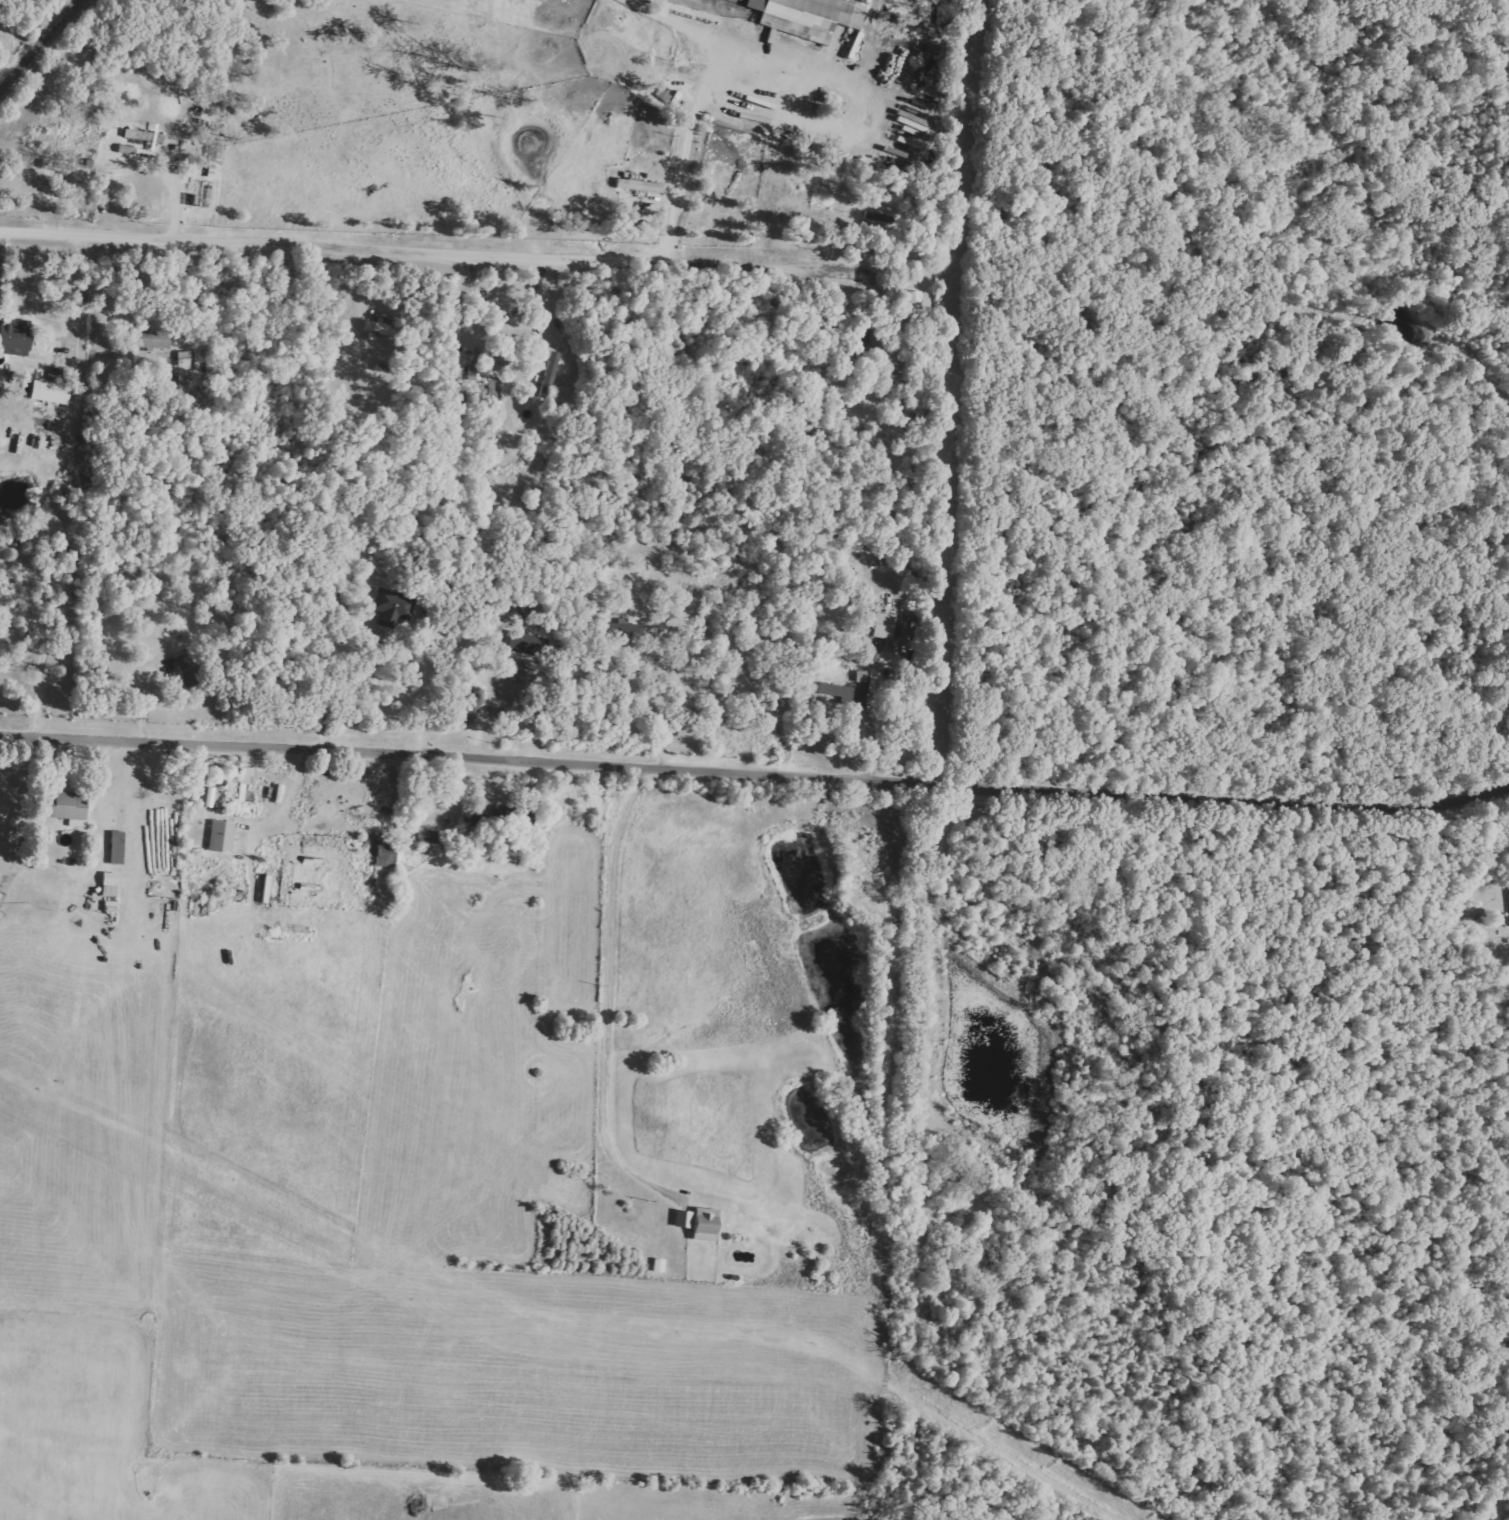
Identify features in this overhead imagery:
building: (806, 15)
road: (707, 34)
road: (35, 42)
building: (849, 50)
building: (831, 105)
road: (688, 148)
building: (636, 184)
road: (174, 199)
road: (0, 246)
road: (423, 254)
road: (85, 297)
road: (558, 306)
building: (13, 337)
building: (149, 339)
building: (547, 374)
building: (46, 387)
building: (21, 390)
building: (389, 603)
building: (879, 624)
building: (621, 629)
road: (41, 667)
road: (420, 686)
building: (840, 692)
road: (645, 711)
road: (755, 772)
building: (244, 775)
road: (287, 797)
road: (100, 798)
building: (61, 805)
building: (218, 835)
building: (427, 836)
building: (384, 852)
building: (107, 883)
road: (609, 991)
building: (696, 1222)
building: (656, 1265)

